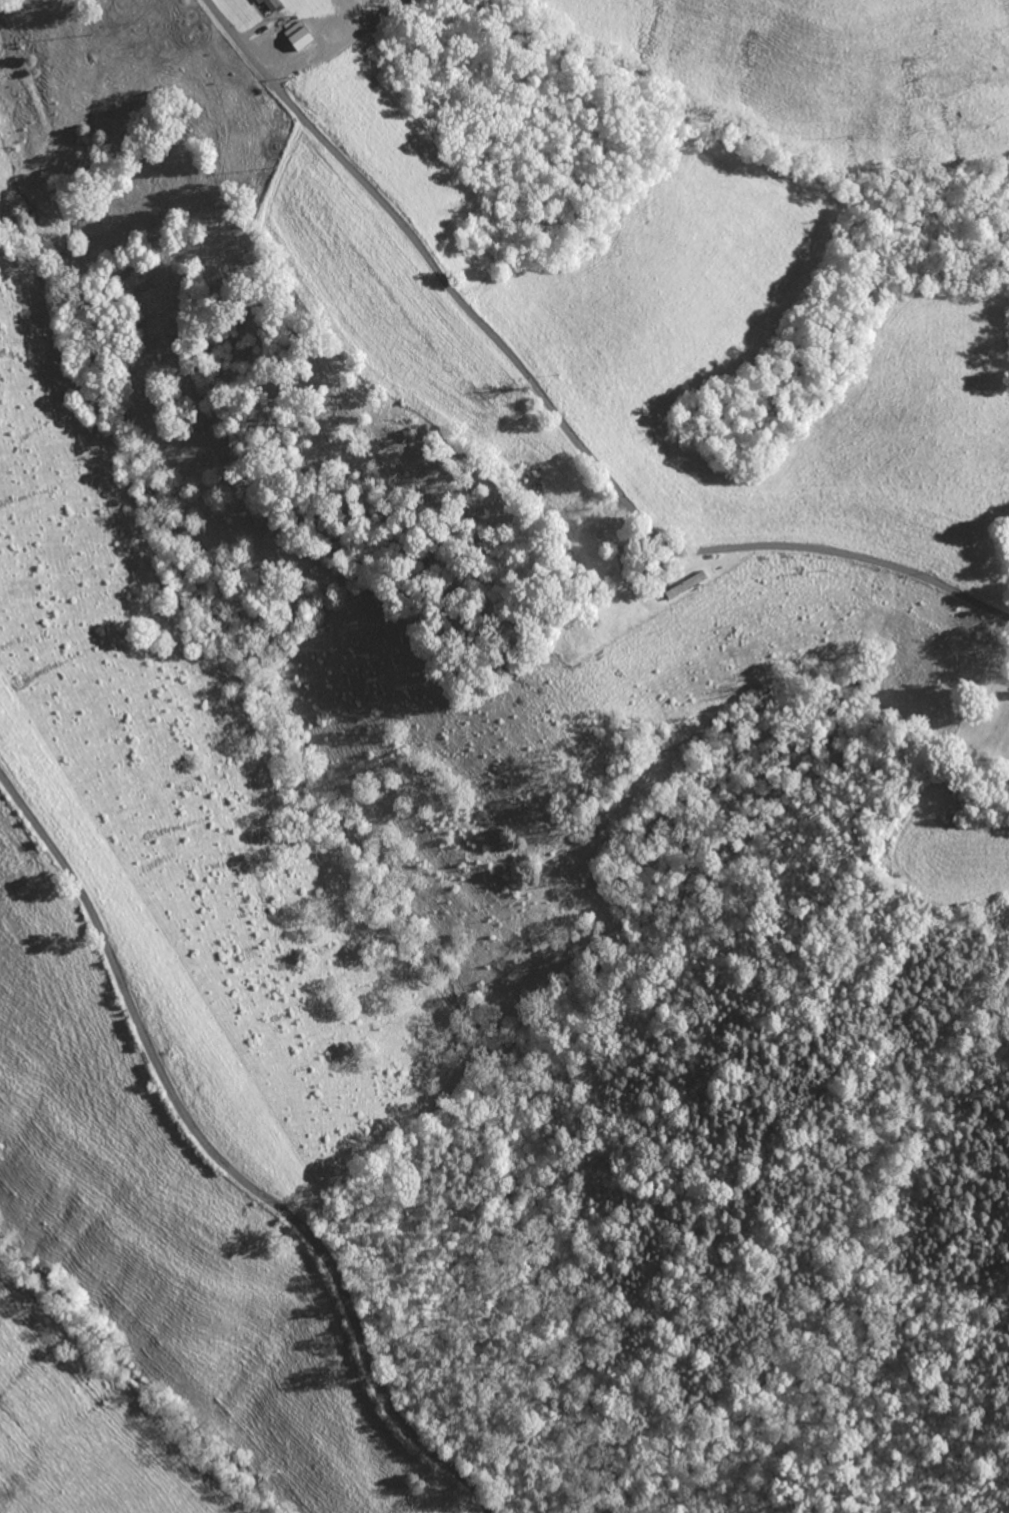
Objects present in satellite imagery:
building: (265, 4)
building: (295, 36)
road: (551, 408)
road: (222, 1162)

